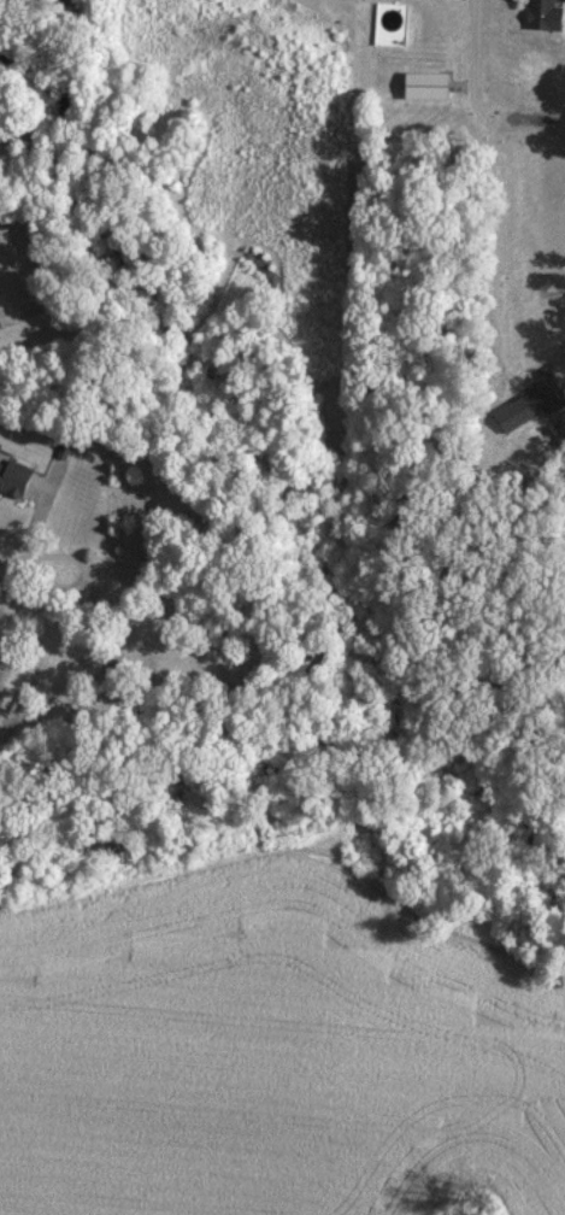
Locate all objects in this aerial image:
building: (546, 14)
road: (471, 53)
building: (429, 84)
building: (0, 324)
building: (522, 411)
building: (14, 477)
road: (8, 552)

